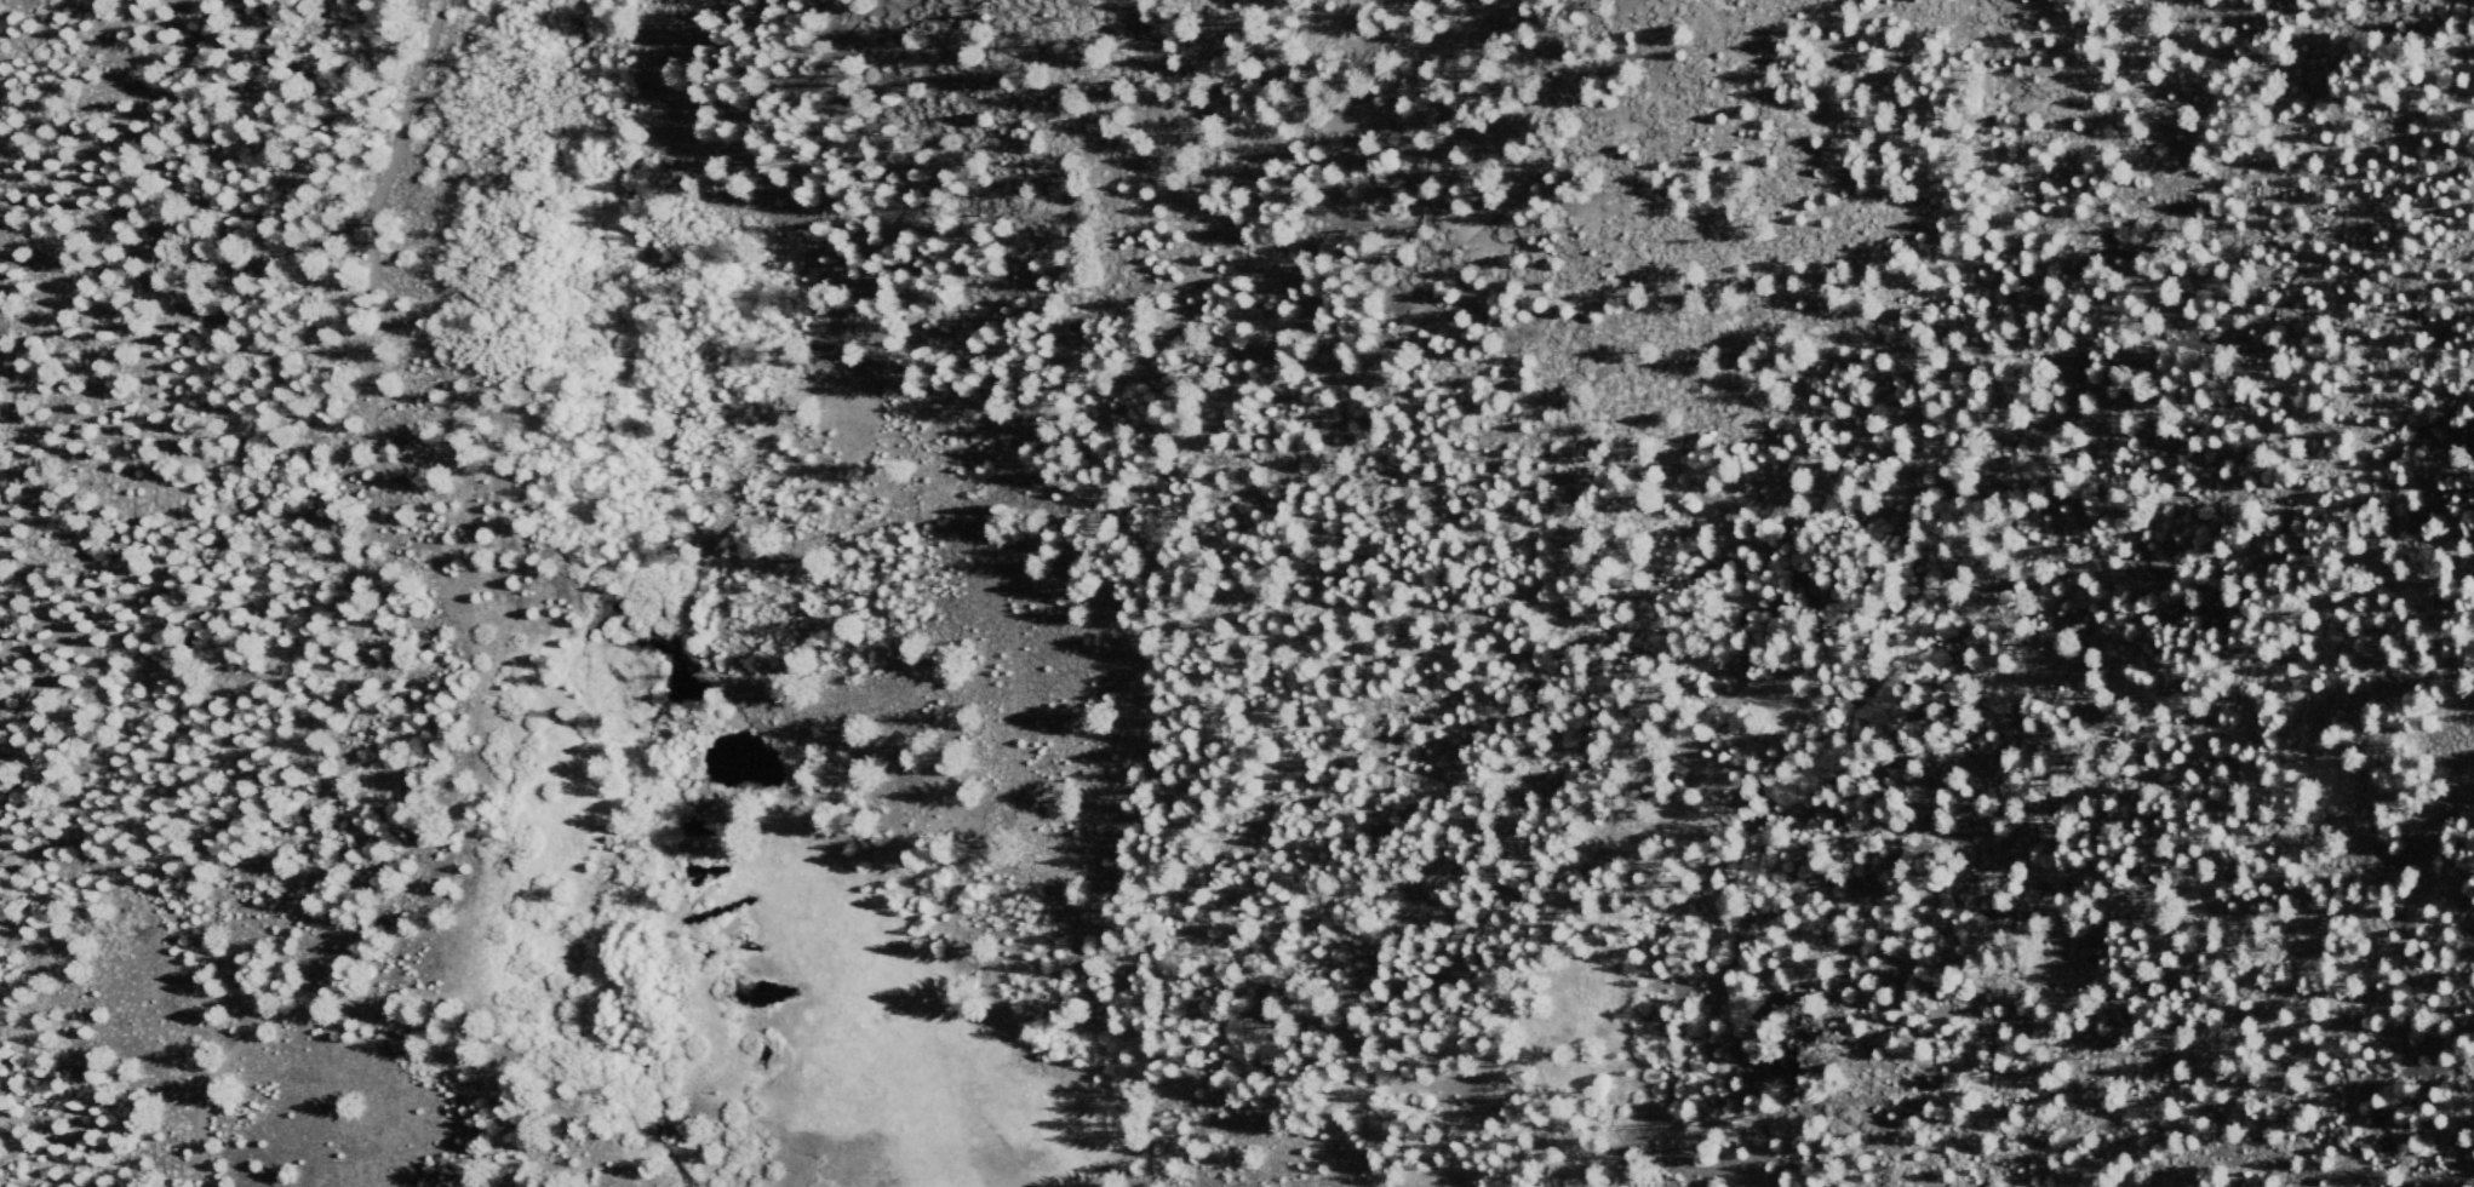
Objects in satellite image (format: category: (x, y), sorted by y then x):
road: (360, 632)

